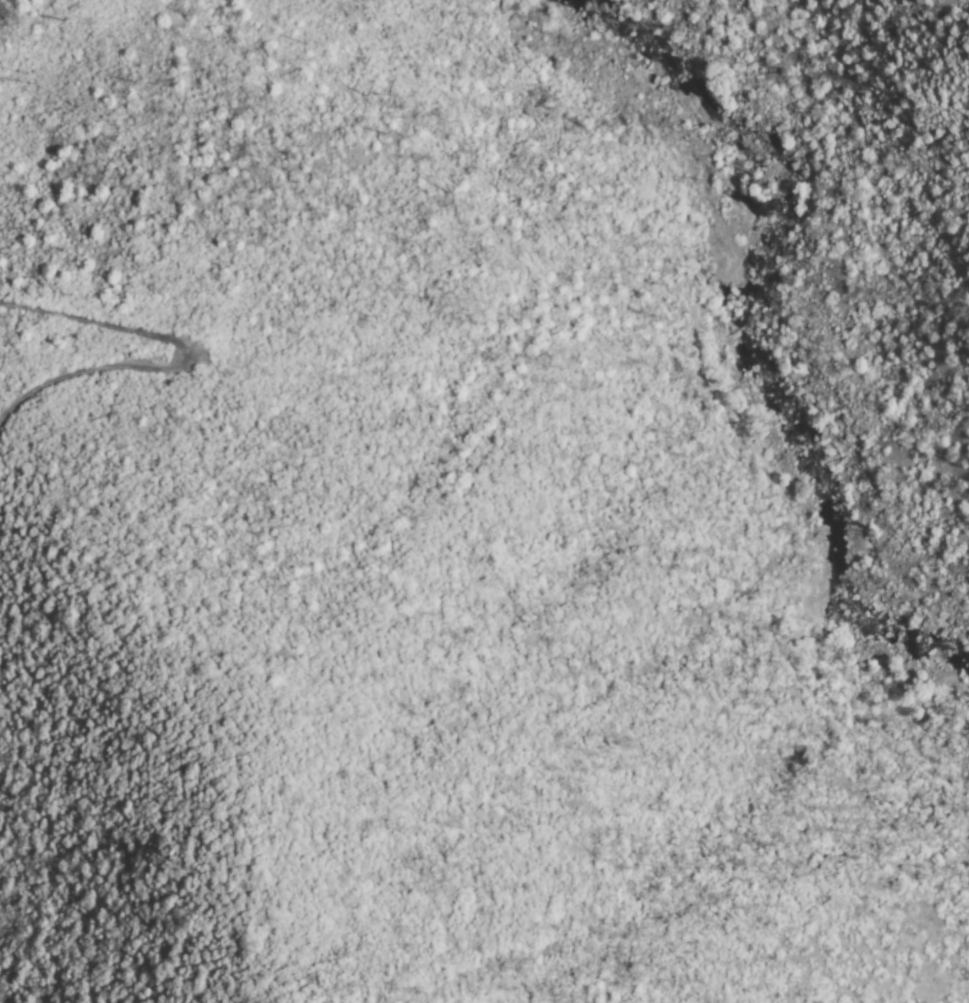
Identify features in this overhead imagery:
river: (761, 331)
road: (181, 358)

